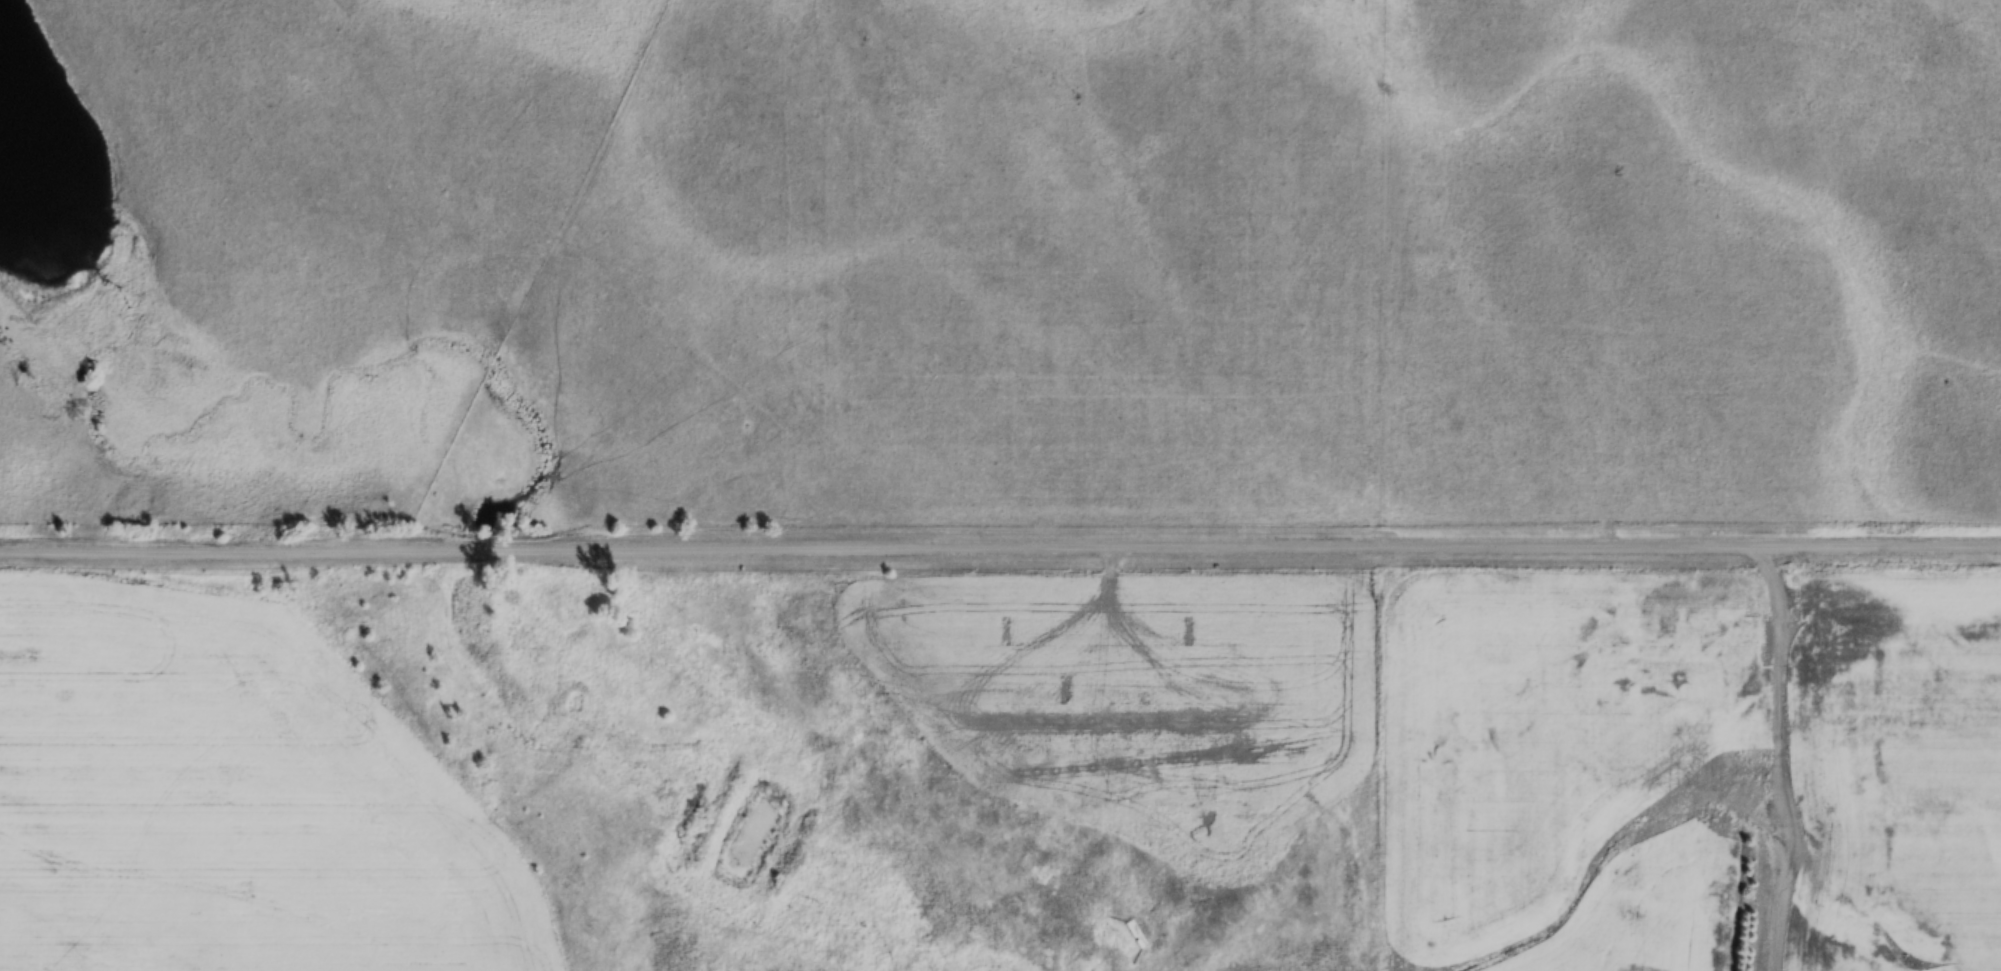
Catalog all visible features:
road: (1000, 550)

